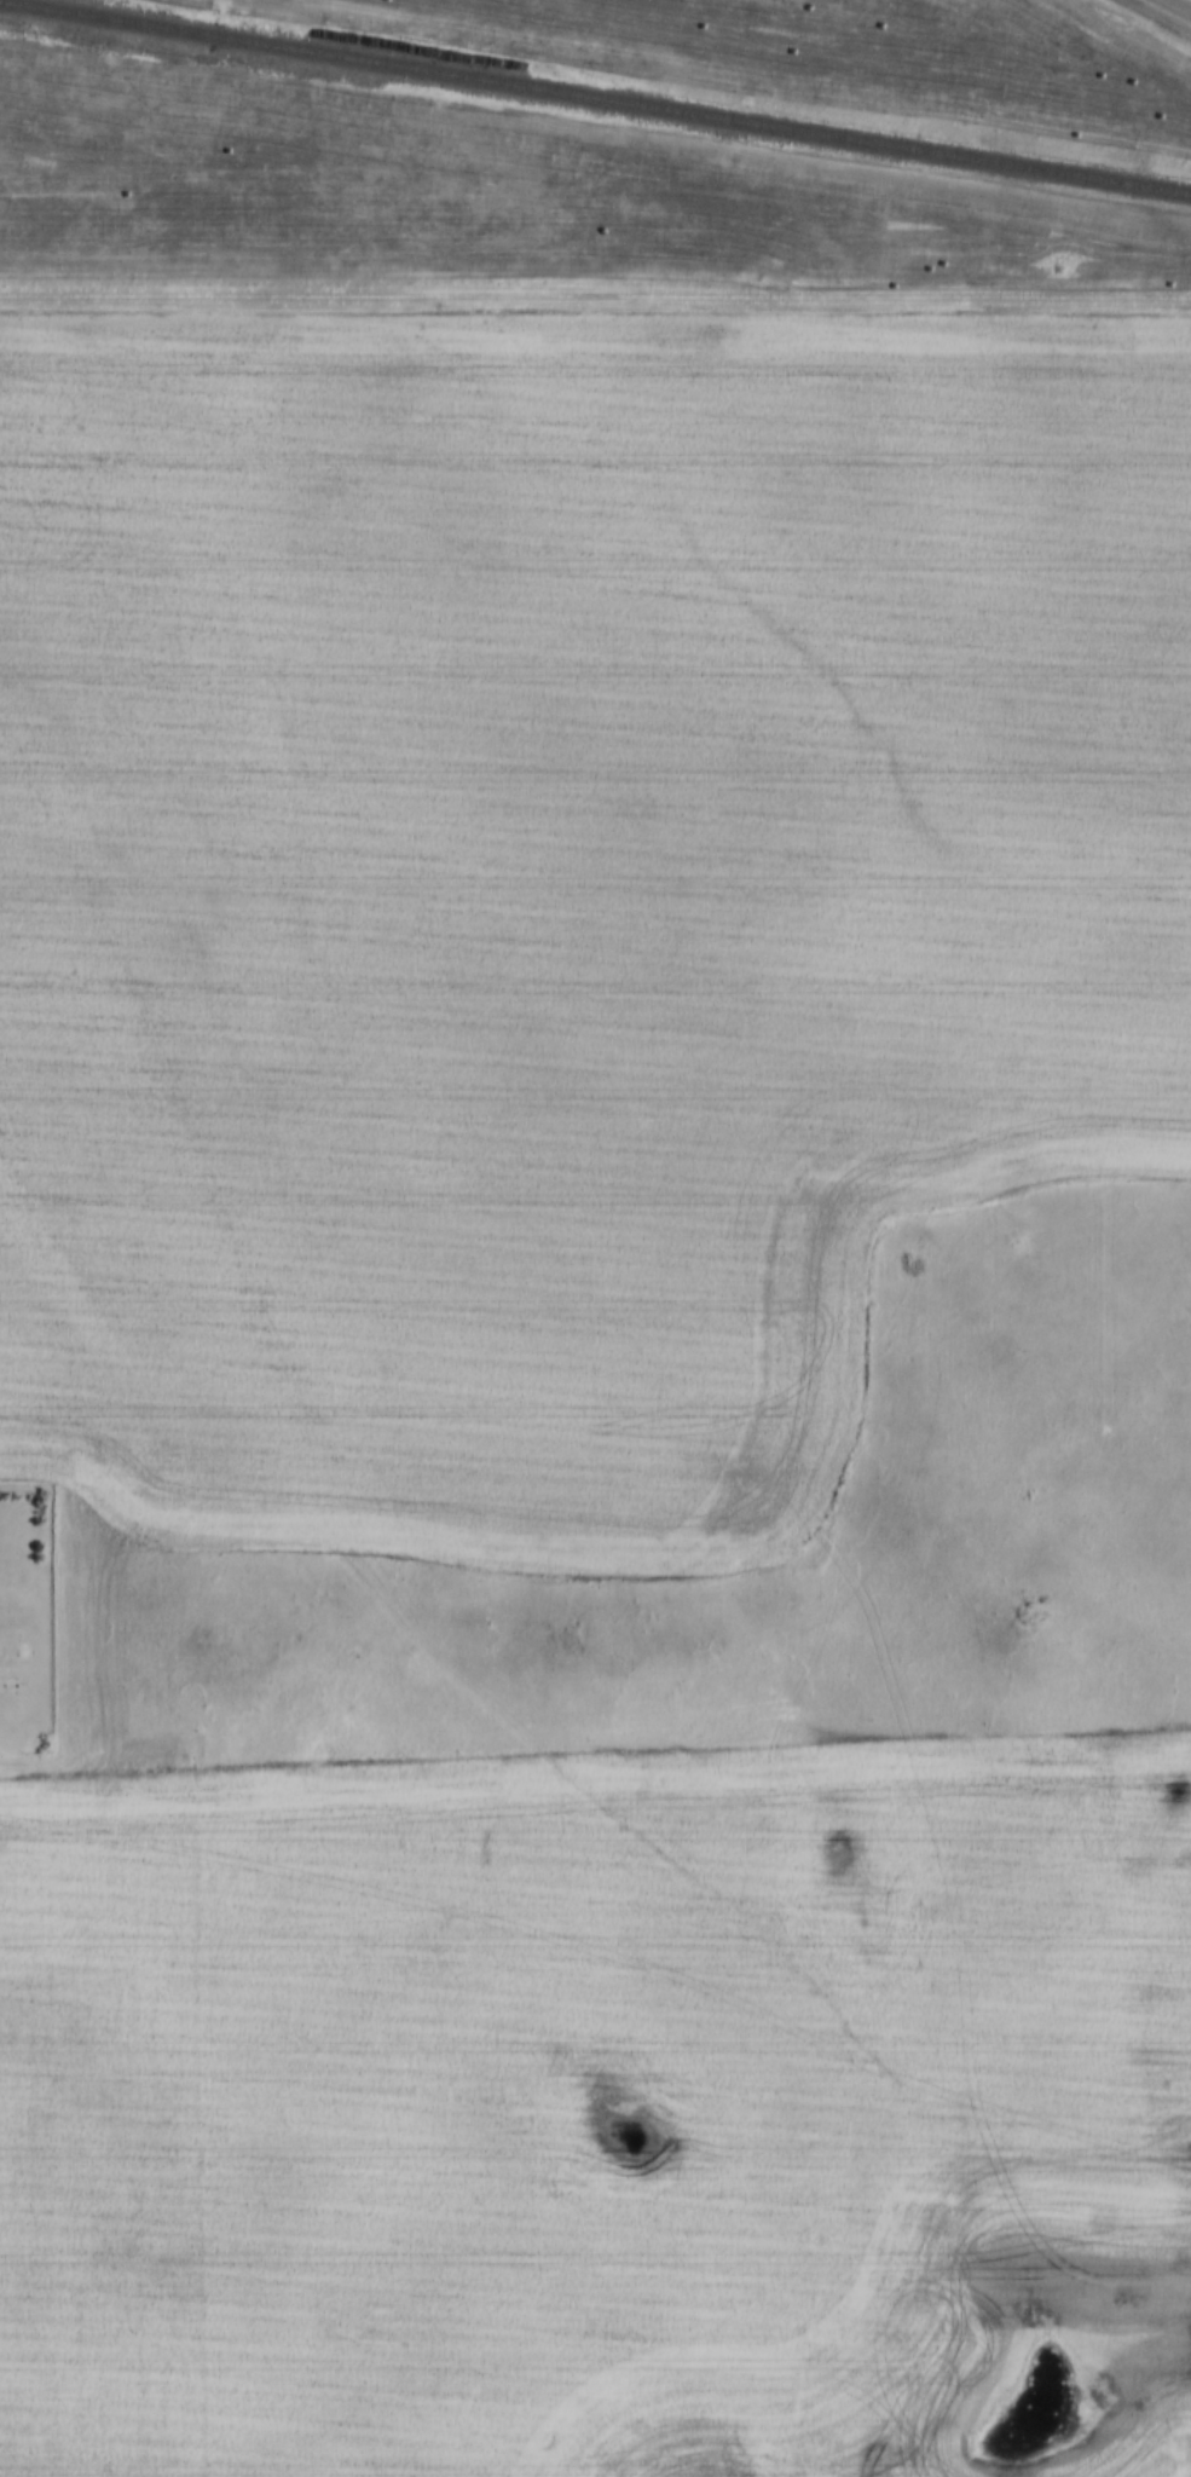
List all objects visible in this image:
road: (1183, 4)
railway: (596, 98)
road: (596, 342)

